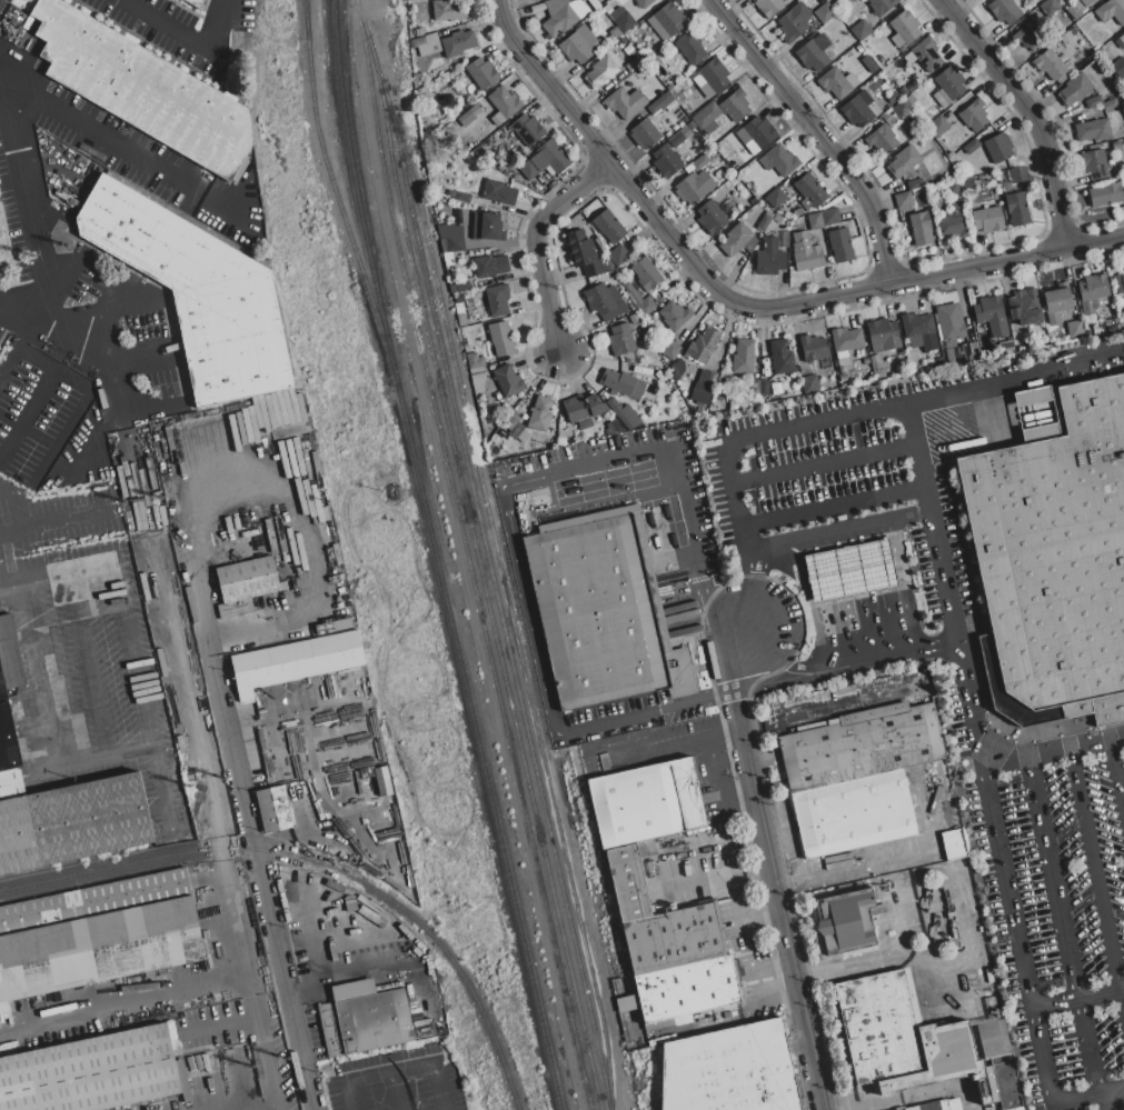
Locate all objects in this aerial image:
building: (558, 1)
building: (571, 1)
building: (1087, 1)
road: (495, 2)
building: (198, 3)
building: (643, 3)
building: (882, 6)
building: (768, 7)
building: (538, 8)
building: (1050, 8)
railway: (304, 9)
building: (449, 10)
building: (1004, 11)
building: (1111, 11)
building: (825, 13)
building: (565, 18)
building: (668, 18)
building: (794, 21)
building: (624, 22)
road: (218, 26)
building: (905, 26)
road: (169, 29)
building: (862, 30)
building: (615, 34)
building: (1032, 36)
building: (430, 38)
building: (1122, 40)
building: (418, 42)
building: (458, 43)
building: (431, 46)
building: (577, 46)
building: (690, 48)
building: (813, 53)
building: (926, 53)
building: (634, 64)
building: (869, 64)
building: (1050, 64)
building: (1118, 67)
building: (481, 72)
building: (600, 72)
building: (714, 74)
building: (951, 82)
building: (833, 83)
building: (142, 89)
building: (1074, 89)
building: (911, 99)
building: (625, 102)
building: (1093, 102)
building: (505, 103)
building: (663, 103)
building: (735, 104)
building: (1108, 104)
building: (476, 110)
building: (903, 110)
building: (857, 111)
road: (1032, 112)
building: (974, 116)
building: (707, 117)
building: (937, 127)
road: (88, 128)
building: (527, 129)
building: (1093, 130)
building: (760, 132)
building: (644, 133)
road: (819, 134)
building: (677, 139)
building: (881, 139)
building: (971, 146)
building: (1116, 146)
building: (998, 148)
building: (725, 149)
building: (713, 154)
building: (546, 160)
building: (666, 161)
building: (779, 161)
building: (903, 161)
building: (700, 162)
building: (1094, 163)
building: (704, 171)
building: (1018, 174)
building: (967, 182)
building: (915, 184)
railway: (332, 186)
road: (31, 188)
building: (953, 188)
building: (689, 190)
building: (809, 190)
building: (1123, 190)
building: (498, 192)
building: (1105, 194)
building: (462, 198)
building: (775, 198)
building: (904, 200)
building: (1017, 209)
building: (1122, 211)
building: (830, 217)
building: (710, 218)
building: (987, 220)
building: (815, 221)
building: (954, 221)
building: (763, 223)
building: (487, 227)
building: (608, 227)
building: (919, 230)
building: (451, 238)
building: (737, 240)
road: (535, 242)
building: (839, 244)
power tower: (67, 247)
building: (586, 252)
building: (806, 252)
building: (617, 256)
power tower: (32, 258)
building: (769, 258)
building: (448, 259)
building: (490, 266)
building: (608, 266)
building: (645, 273)
building: (1117, 284)
building: (461, 286)
building: (196, 291)
building: (1092, 292)
building: (458, 299)
building: (498, 300)
building: (638, 300)
building: (605, 301)
building: (1056, 302)
road: (739, 306)
building: (1025, 307)
road: (111, 310)
building: (460, 314)
building: (675, 314)
building: (992, 316)
road: (39, 318)
building: (634, 319)
building: (951, 322)
building: (1074, 329)
building: (919, 330)
building: (883, 336)
building: (500, 338)
building: (620, 340)
building: (846, 341)
building: (703, 344)
road: (79, 348)
building: (813, 348)
road: (139, 349)
building: (670, 350)
building: (969, 351)
building: (744, 356)
building: (782, 357)
building: (474, 361)
road: (1074, 367)
building: (877, 368)
road: (51, 372)
building: (703, 377)
building: (477, 379)
building: (712, 379)
building: (508, 380)
building: (623, 384)
building: (809, 384)
building: (755, 387)
building: (764, 388)
building: (702, 393)
building: (1031, 399)
building: (294, 406)
building: (288, 408)
building: (300, 408)
road: (153, 409)
building: (282, 409)
building: (276, 410)
building: (583, 410)
road: (874, 410)
building: (262, 411)
building: (269, 411)
building: (257, 412)
building: (540, 413)
building: (624, 413)
road: (26, 417)
building: (251, 418)
building: (615, 427)
building: (240, 430)
building: (292, 430)
building: (232, 431)
building: (504, 431)
building: (226, 432)
building: (211, 434)
building: (523, 436)
road: (59, 438)
building: (508, 438)
road: (50, 439)
building: (176, 440)
building: (182, 440)
building: (189, 440)
building: (197, 440)
building: (162, 446)
road: (919, 457)
road: (825, 463)
road: (674, 468)
power tower: (160, 498)
power tower: (128, 502)
road: (834, 507)
road: (13, 508)
road: (905, 516)
road: (53, 523)
building: (296, 531)
road: (829, 532)
building: (289, 533)
building: (281, 534)
building: (270, 536)
road: (745, 537)
road: (763, 546)
railway: (477, 554)
railway: (467, 556)
railway: (436, 557)
building: (1053, 563)
building: (847, 570)
road: (58, 573)
road: (944, 576)
building: (247, 580)
railway: (494, 584)
road: (903, 584)
building: (282, 586)
road: (523, 587)
building: (235, 609)
building: (601, 610)
railway: (511, 614)
road: (732, 621)
building: (334, 628)
parking lot: (979, 633)
road: (770, 652)
road: (901, 652)
road: (27, 654)
building: (294, 663)
road: (97, 664)
road: (823, 670)
road: (792, 673)
road: (147, 694)
road: (678, 706)
building: (6, 727)
road: (740, 728)
building: (862, 744)
road: (233, 750)
road: (1053, 752)
road: (106, 761)
road: (1117, 771)
building: (367, 772)
power tower: (226, 779)
building: (382, 780)
building: (11, 782)
power tower: (191, 786)
building: (646, 802)
building: (273, 809)
building: (853, 812)
building: (72, 822)
building: (954, 844)
railway: (321, 864)
road: (858, 870)
road: (776, 871)
road: (1097, 881)
building: (626, 882)
road: (734, 891)
building: (93, 900)
road: (925, 900)
road: (1012, 907)
building: (846, 921)
road: (816, 924)
road: (1062, 926)
building: (674, 939)
building: (99, 948)
road: (936, 950)
road: (381, 966)
road: (769, 967)
road: (247, 981)
building: (687, 988)
road: (858, 989)
road: (945, 993)
road: (121, 998)
road: (1078, 999)
road: (729, 1014)
building: (365, 1019)
building: (902, 1038)
road: (955, 1041)
road: (266, 1051)
road: (300, 1052)
power tower: (288, 1059)
road: (847, 1066)
power tower: (251, 1068)
road: (397, 1068)
building: (730, 1070)
building: (96, 1072)
building: (1006, 1082)
road: (391, 1090)
road: (894, 1101)
road: (1104, 1101)
building: (937, 1106)
road: (270, 1108)

